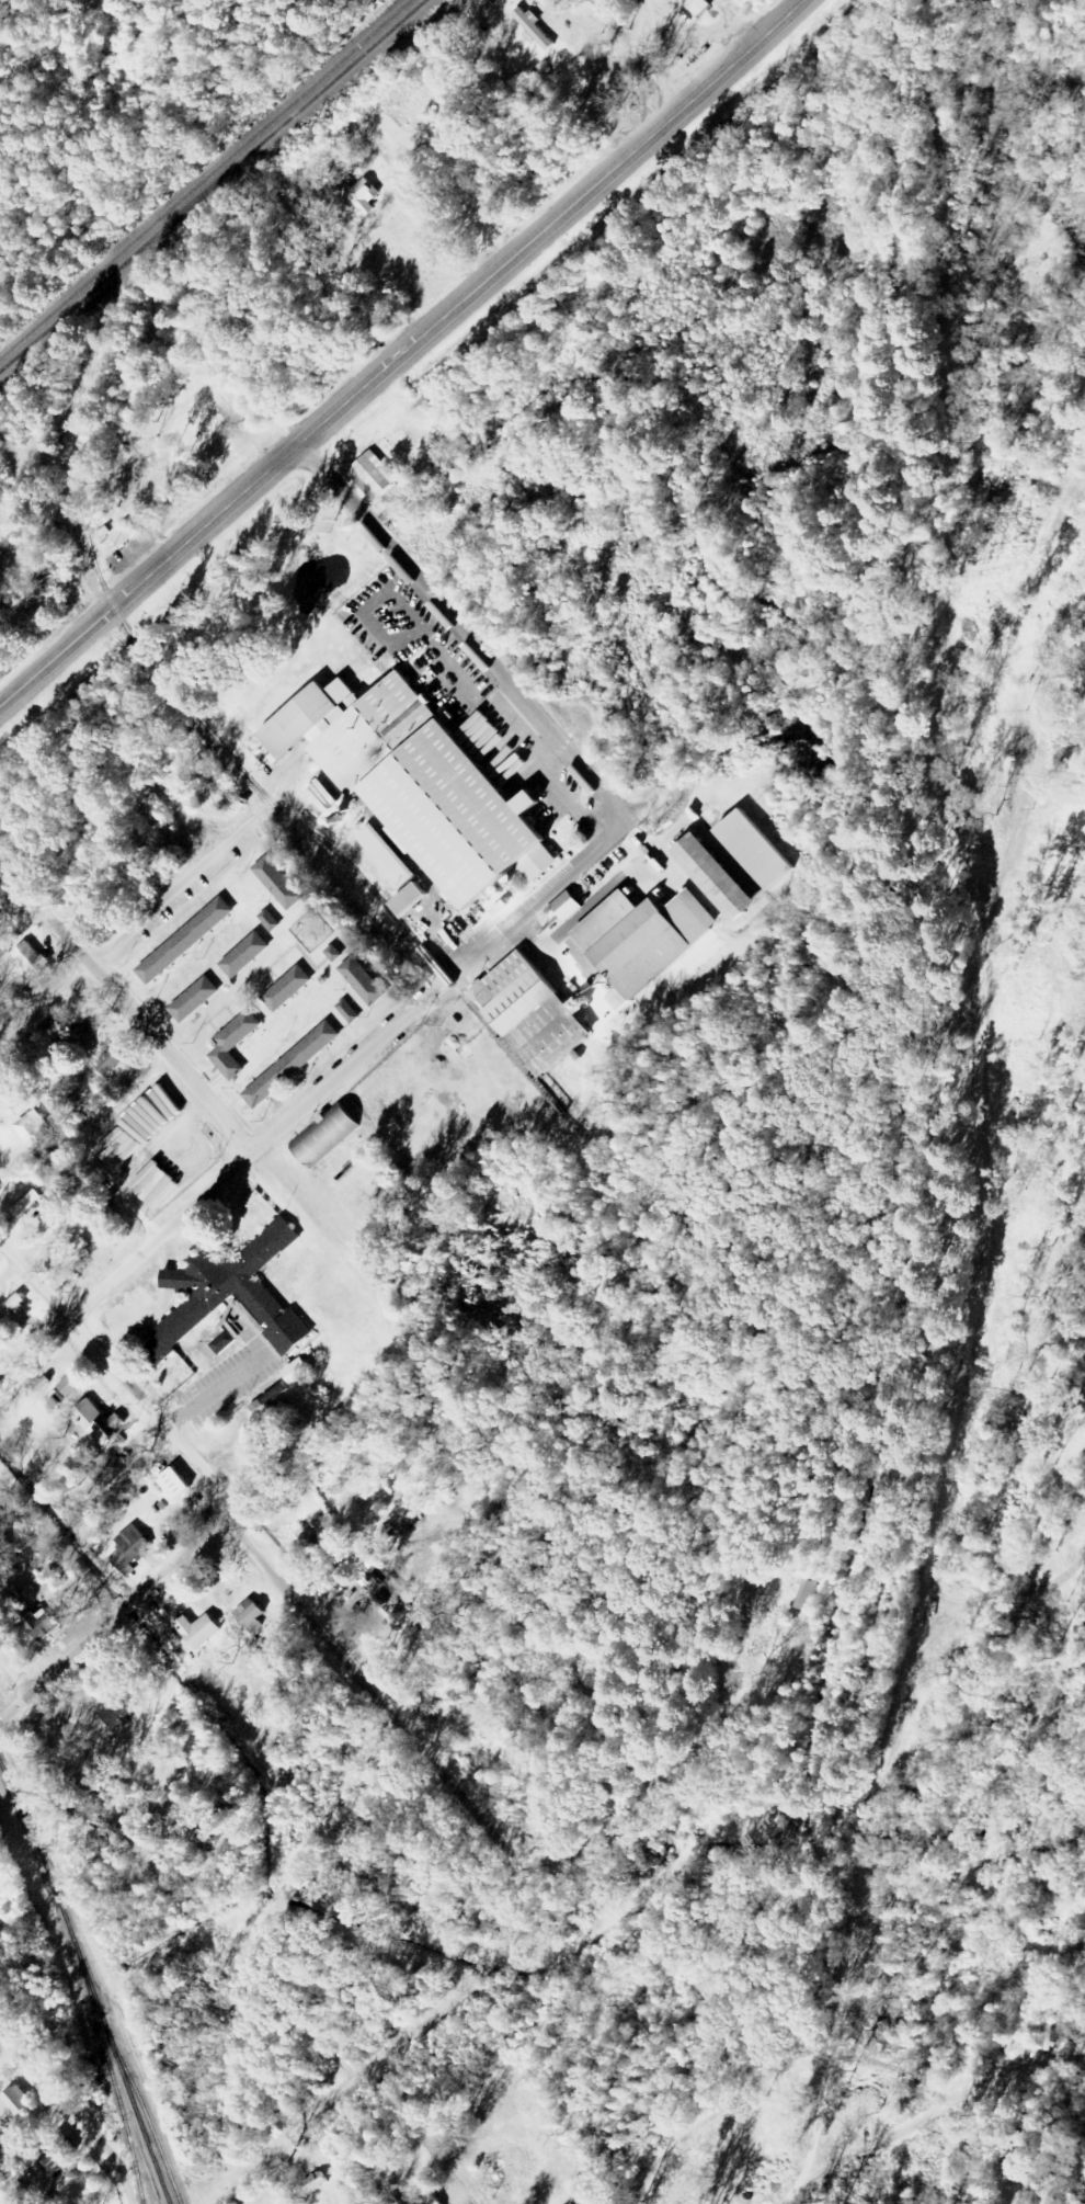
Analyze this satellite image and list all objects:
building: (698, 5)
building: (534, 29)
road: (637, 54)
railway: (205, 178)
railway: (213, 183)
building: (359, 192)
road: (399, 353)
building: (373, 475)
building: (117, 534)
road: (465, 633)
railway: (167, 680)
building: (420, 782)
railway: (283, 819)
building: (757, 849)
building: (392, 855)
building: (716, 876)
building: (279, 883)
road: (175, 898)
building: (413, 899)
building: (567, 906)
road: (524, 914)
building: (271, 920)
building: (640, 940)
building: (186, 941)
building: (335, 953)
building: (247, 955)
building: (33, 961)
building: (365, 980)
building: (288, 988)
building: (195, 1000)
road: (126, 1006)
building: (350, 1012)
building: (533, 1013)
building: (235, 1044)
building: (111, 1063)
building: (293, 1065)
building: (33, 1128)
building: (325, 1135)
building: (138, 1167)
road: (207, 1192)
building: (28, 1203)
building: (73, 1252)
building: (226, 1293)
building: (13, 1307)
building: (225, 1339)
building: (297, 1371)
building: (69, 1386)
building: (270, 1398)
building: (99, 1422)
building: (110, 1469)
building: (175, 1484)
building: (329, 1527)
building: (133, 1549)
road: (270, 1574)
building: (808, 1594)
building: (251, 1615)
road: (113, 1617)
building: (43, 1625)
building: (199, 1631)
building: (266, 1637)
road: (13, 1674)
building: (119, 1713)
building: (0, 1885)
road: (556, 1897)
railway: (89, 1981)
road: (8, 2056)
railway: (820, 2056)
railway: (110, 2072)
building: (14, 2105)
railway: (141, 2109)
road: (70, 2113)
road: (430, 2132)
building: (55, 2158)
building: (432, 2200)

